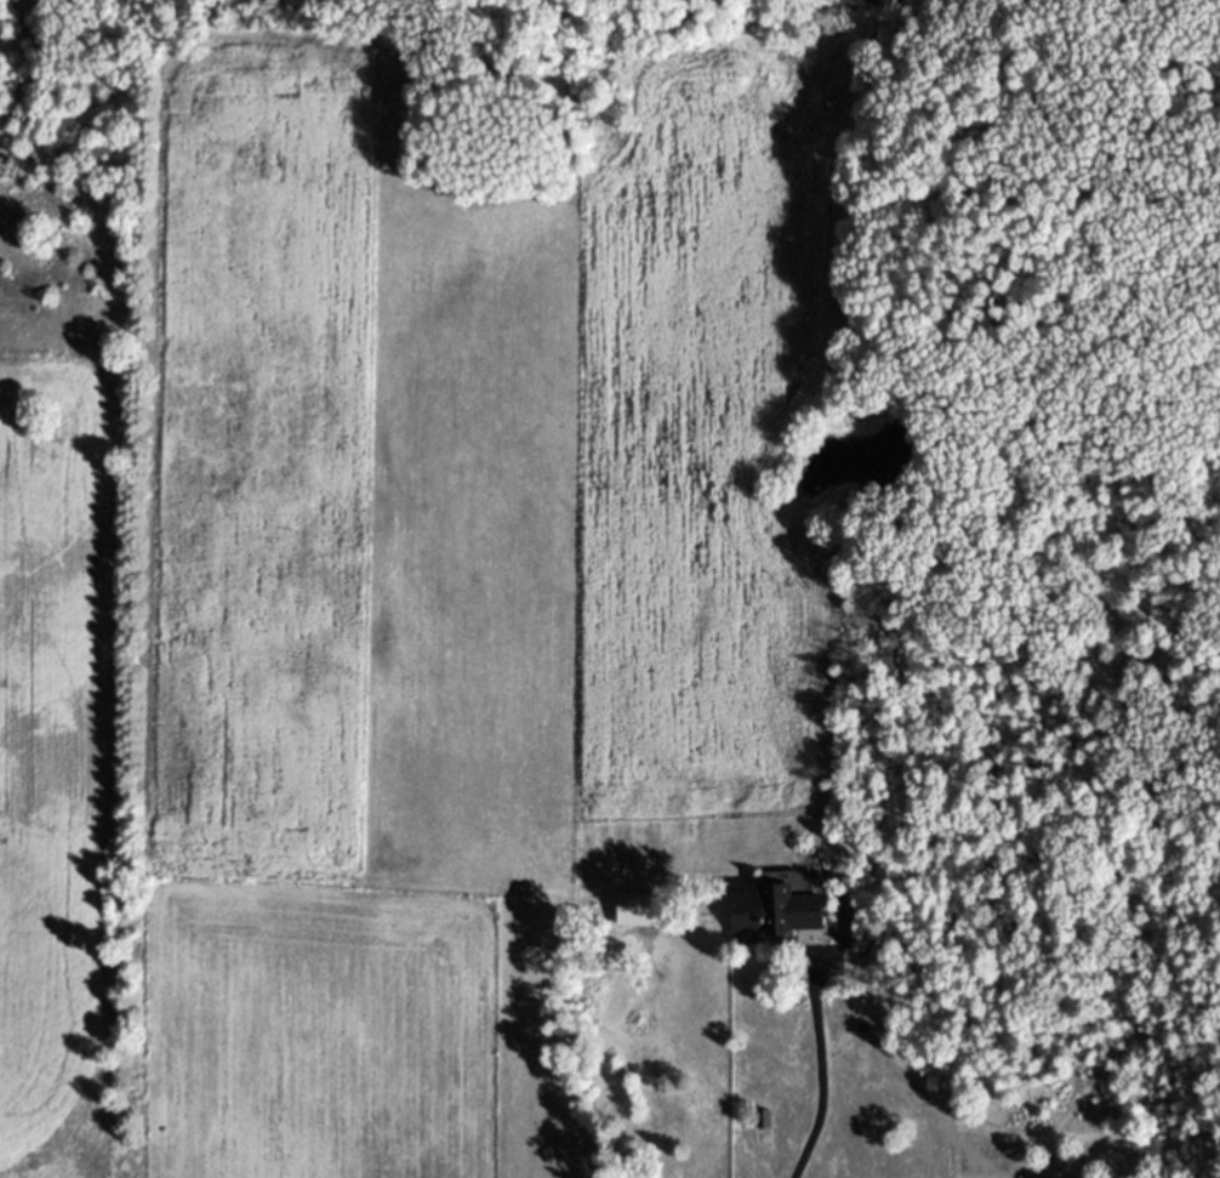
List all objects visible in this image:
building: (785, 917)
building: (646, 918)
road: (822, 1080)

